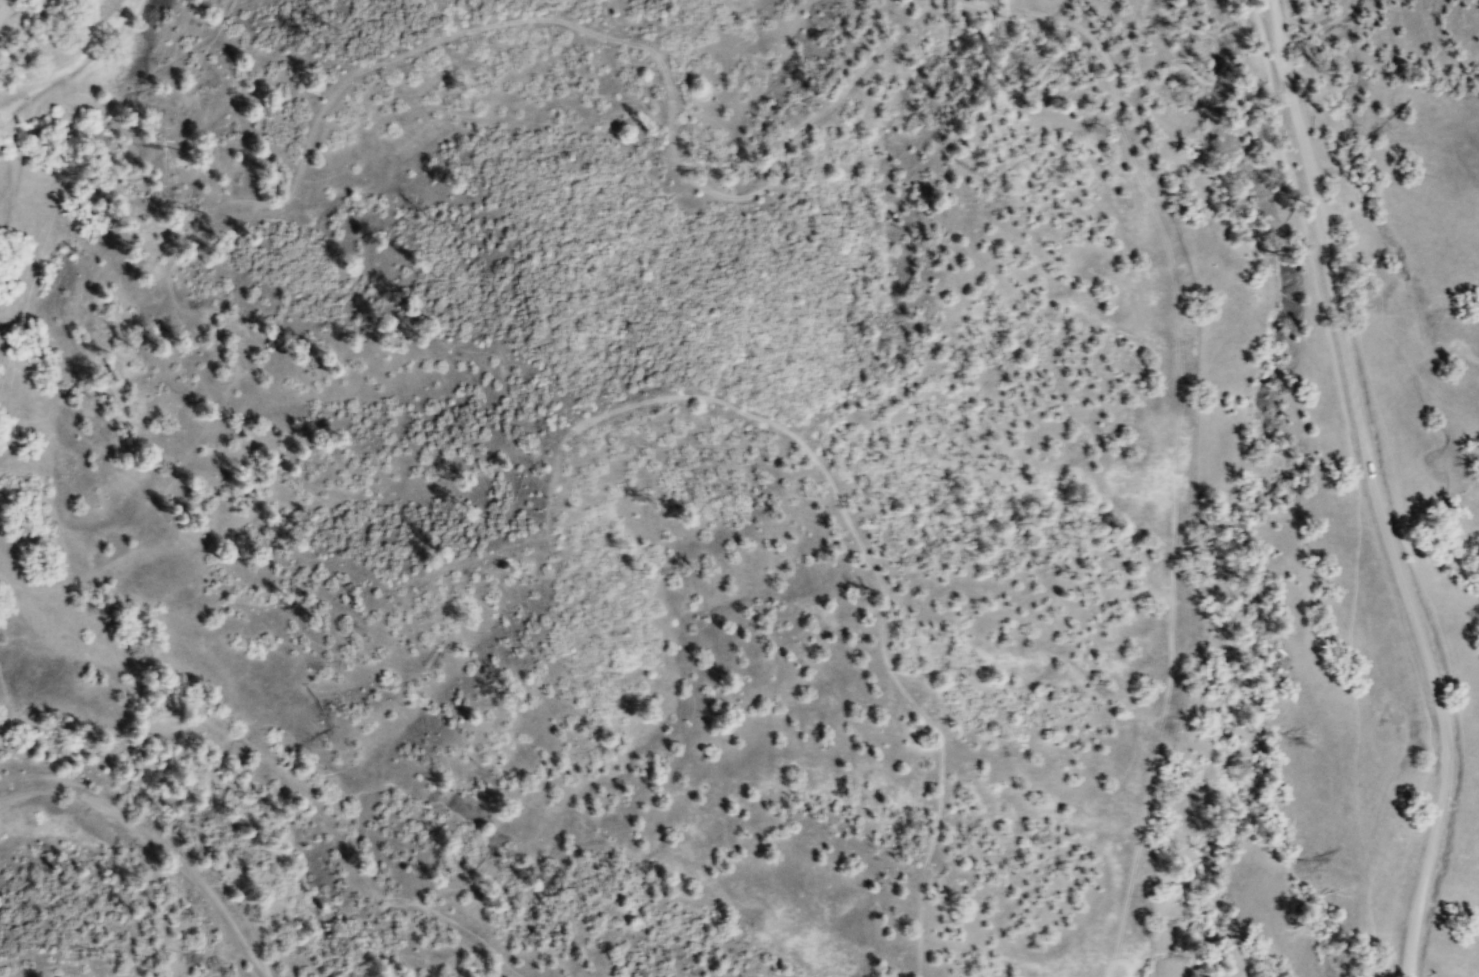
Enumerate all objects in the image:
river: (70, 58)
road: (1390, 490)
road: (164, 836)

